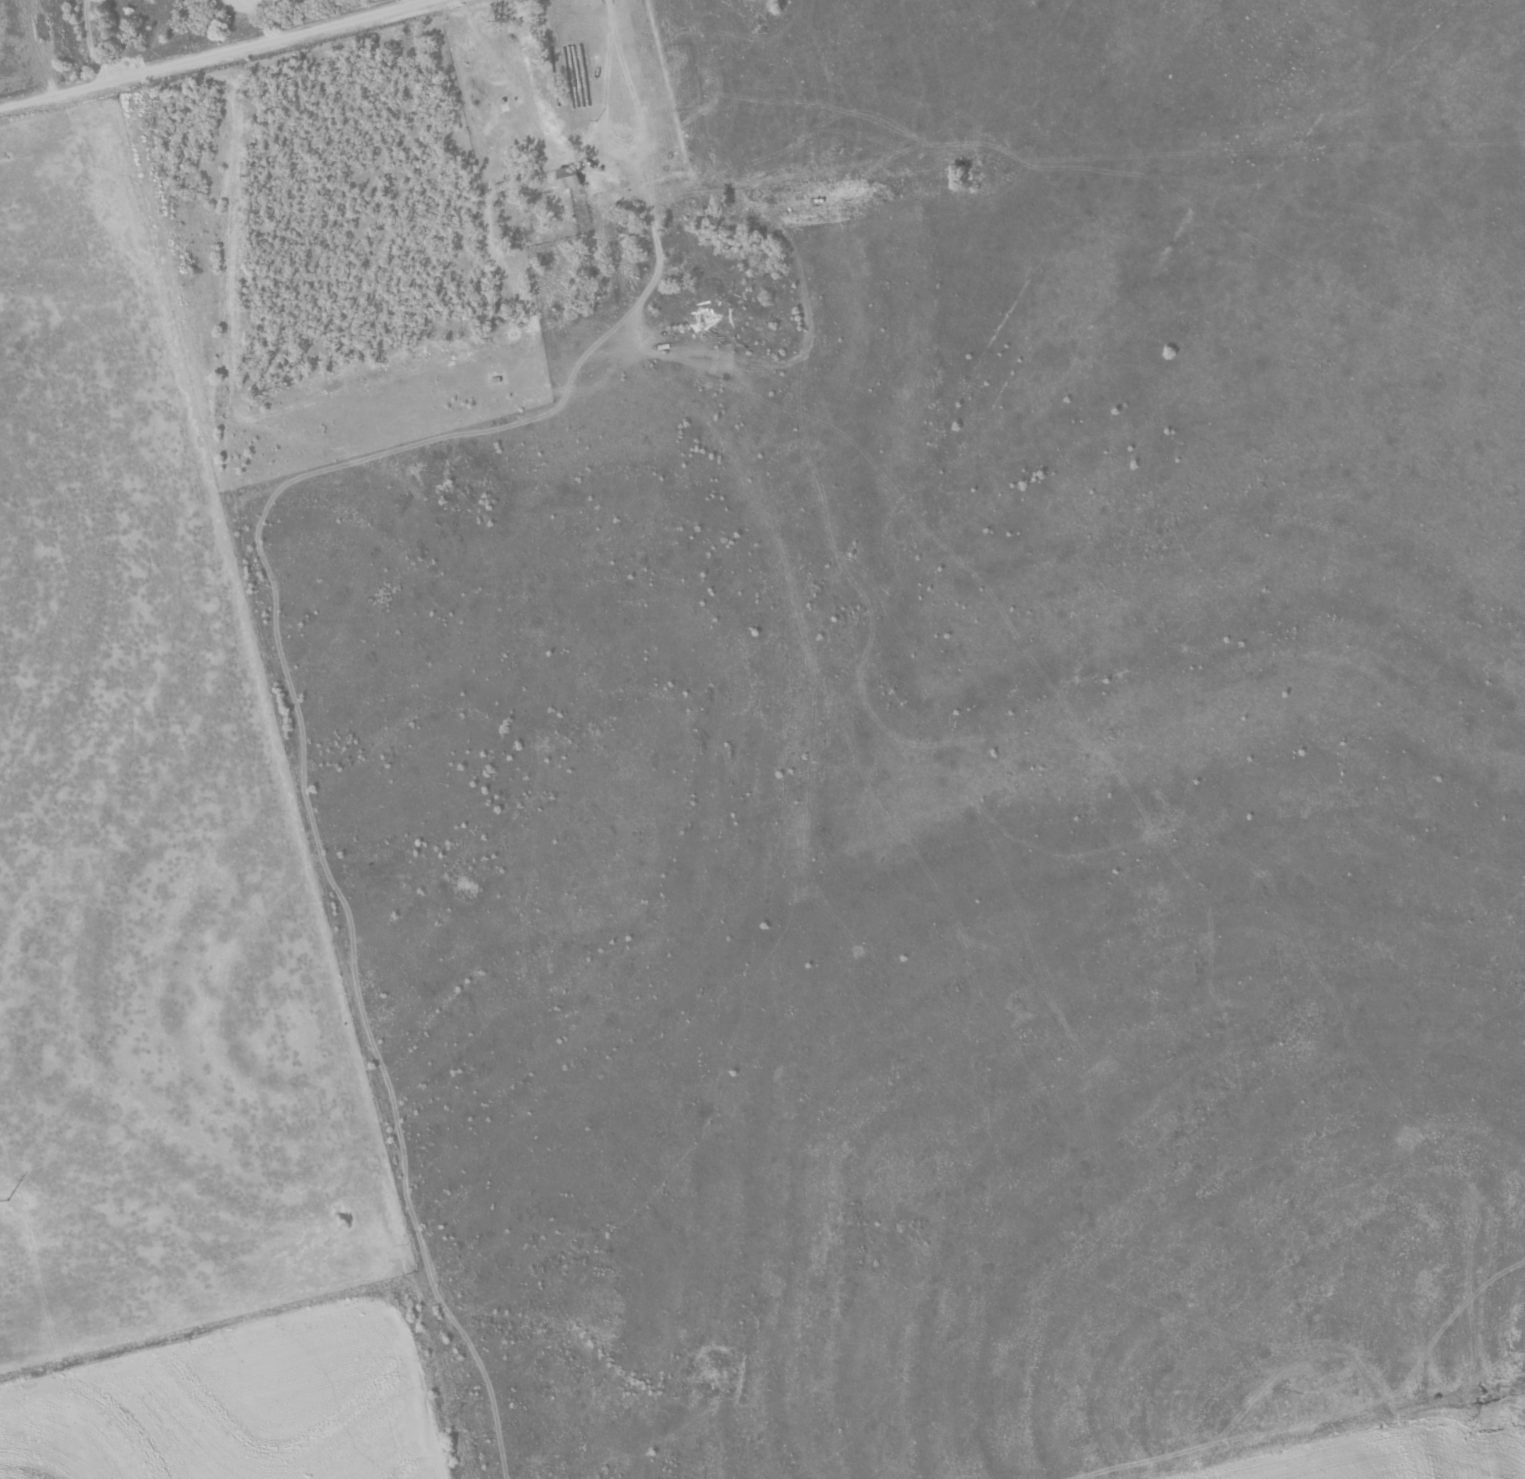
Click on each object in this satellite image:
road: (212, 52)
power tower: (7, 1208)

